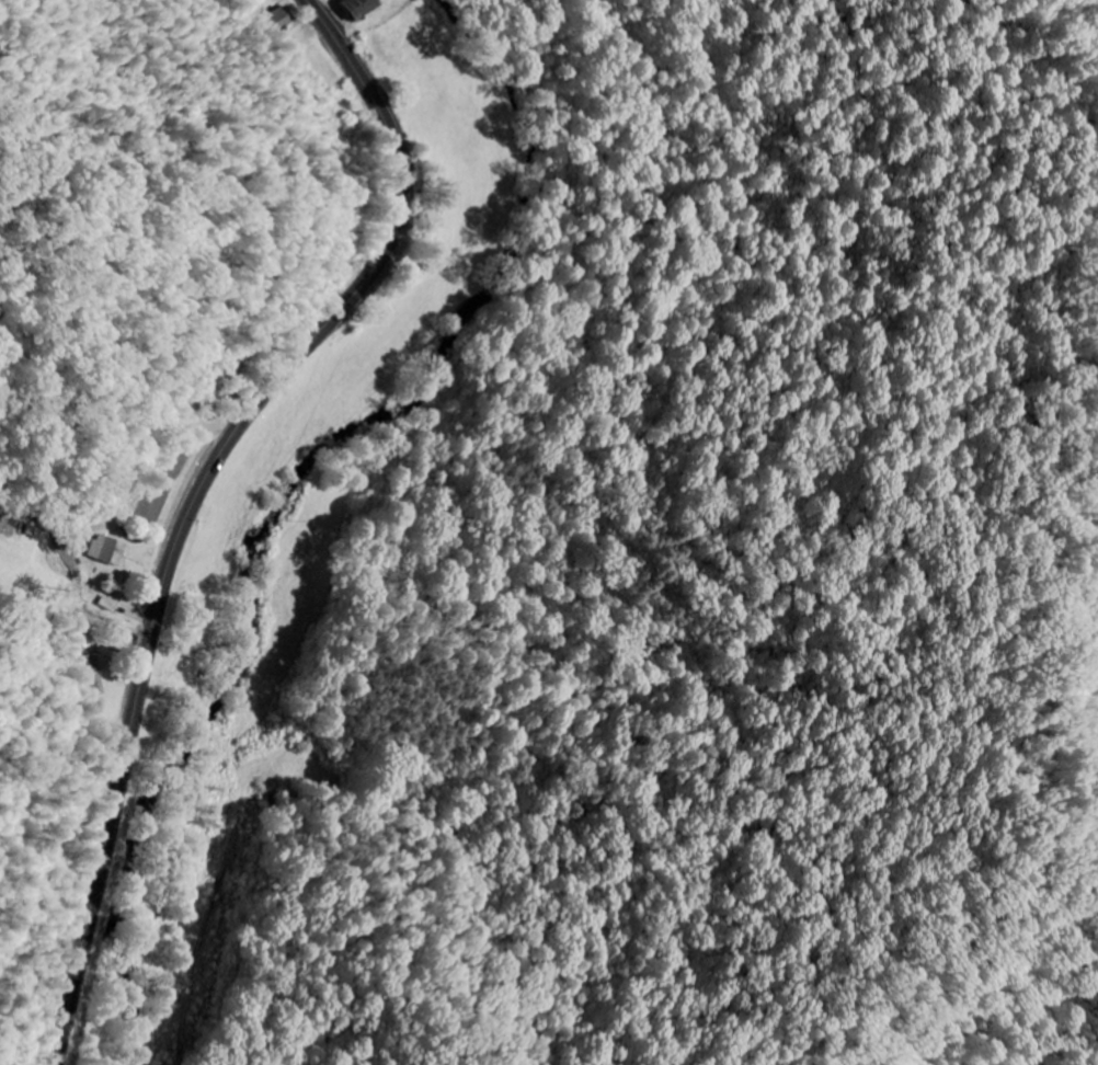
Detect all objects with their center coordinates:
building: (352, 8)
road: (198, 495)
building: (107, 552)
building: (107, 605)
road: (73, 619)
building: (93, 674)
road: (215, 982)

